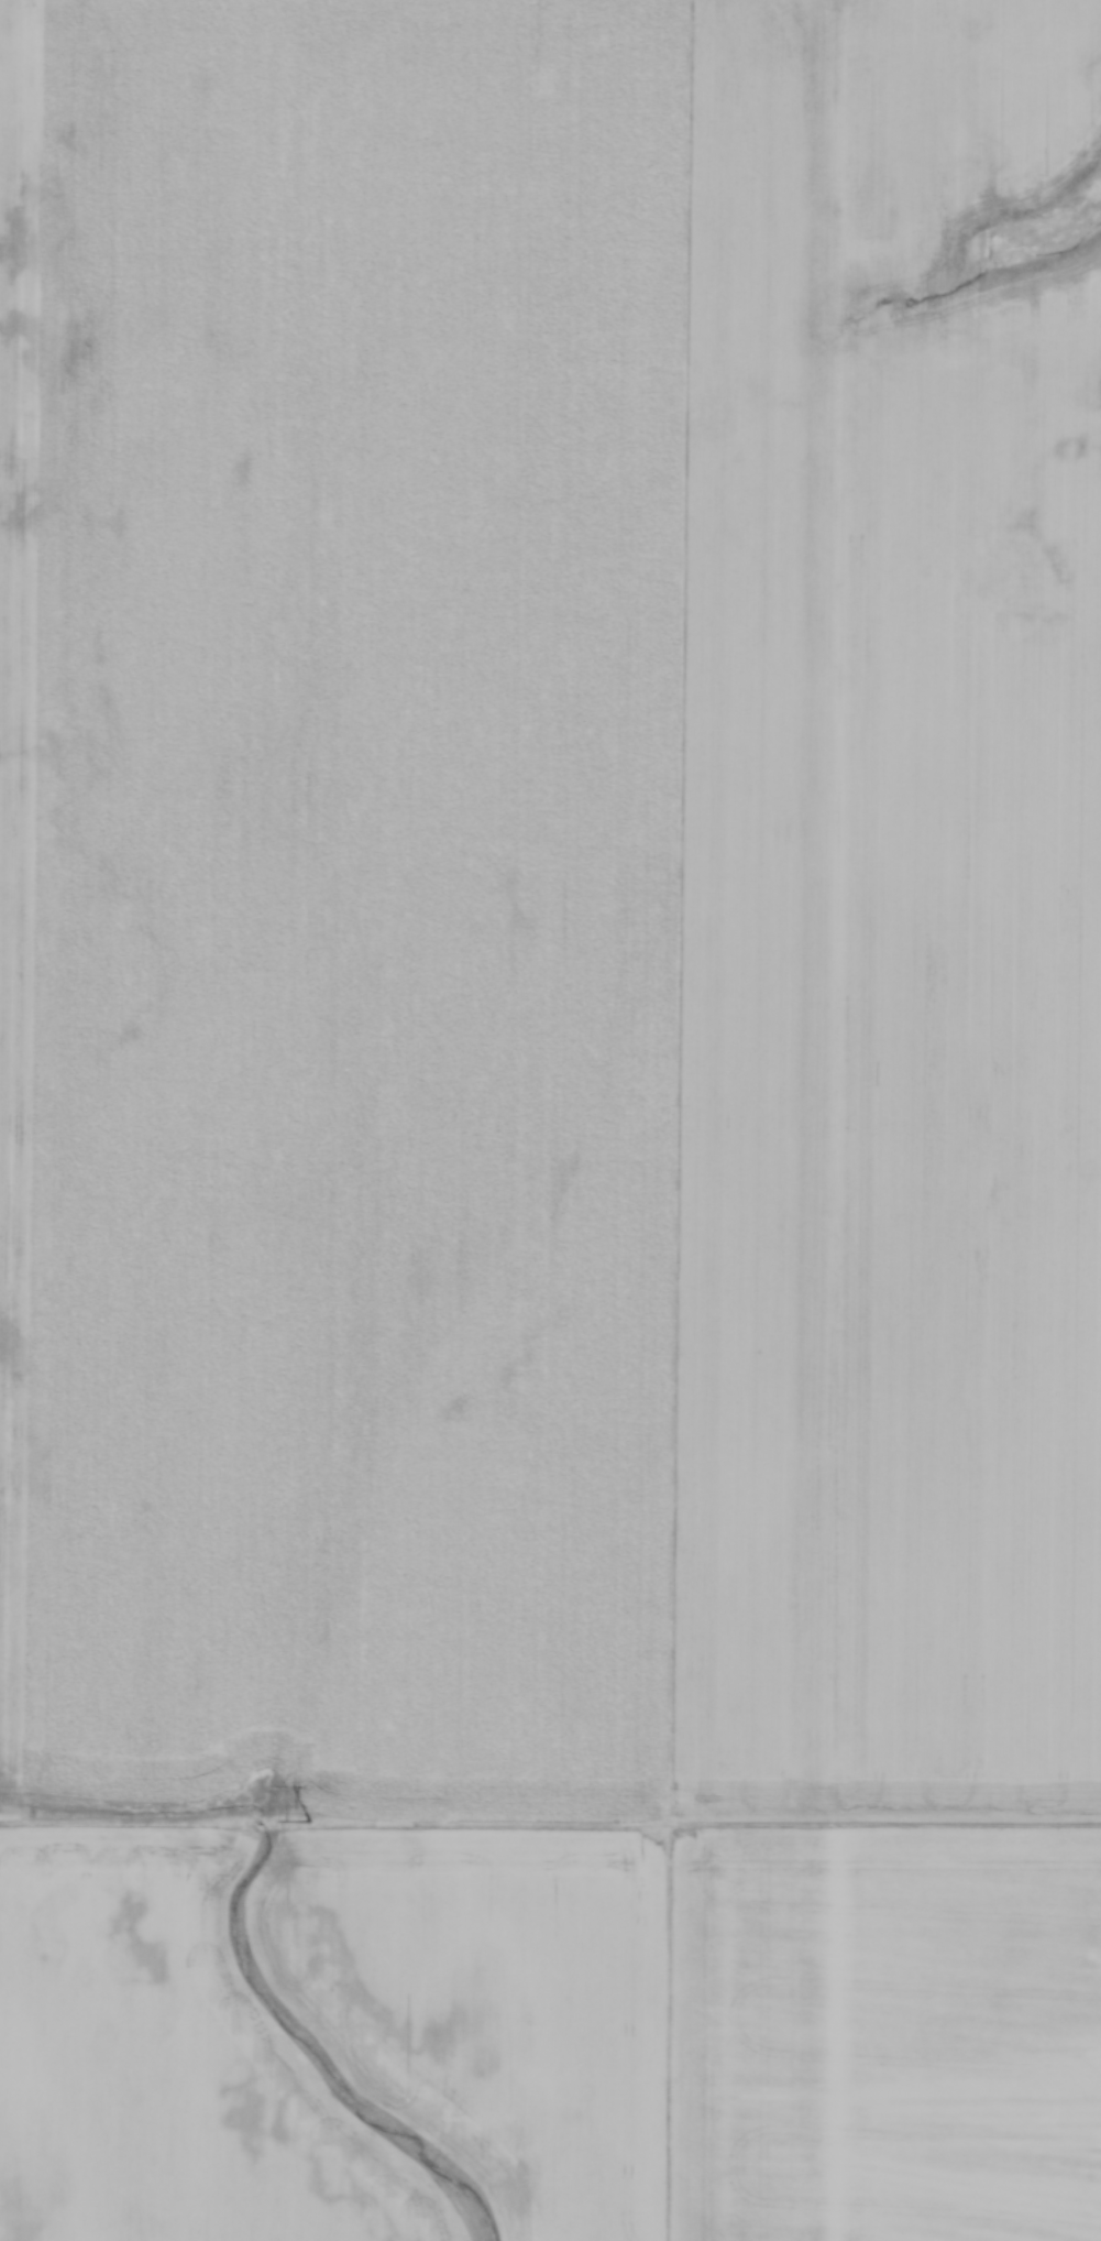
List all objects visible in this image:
power tower: (308, 1819)

